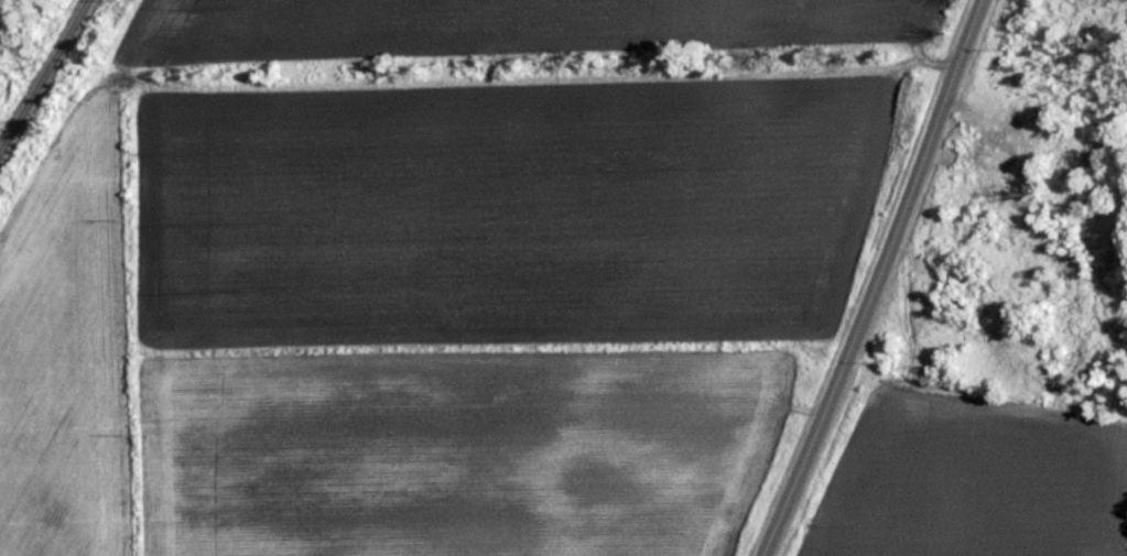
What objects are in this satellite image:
railway: (43, 75)
road: (885, 281)

